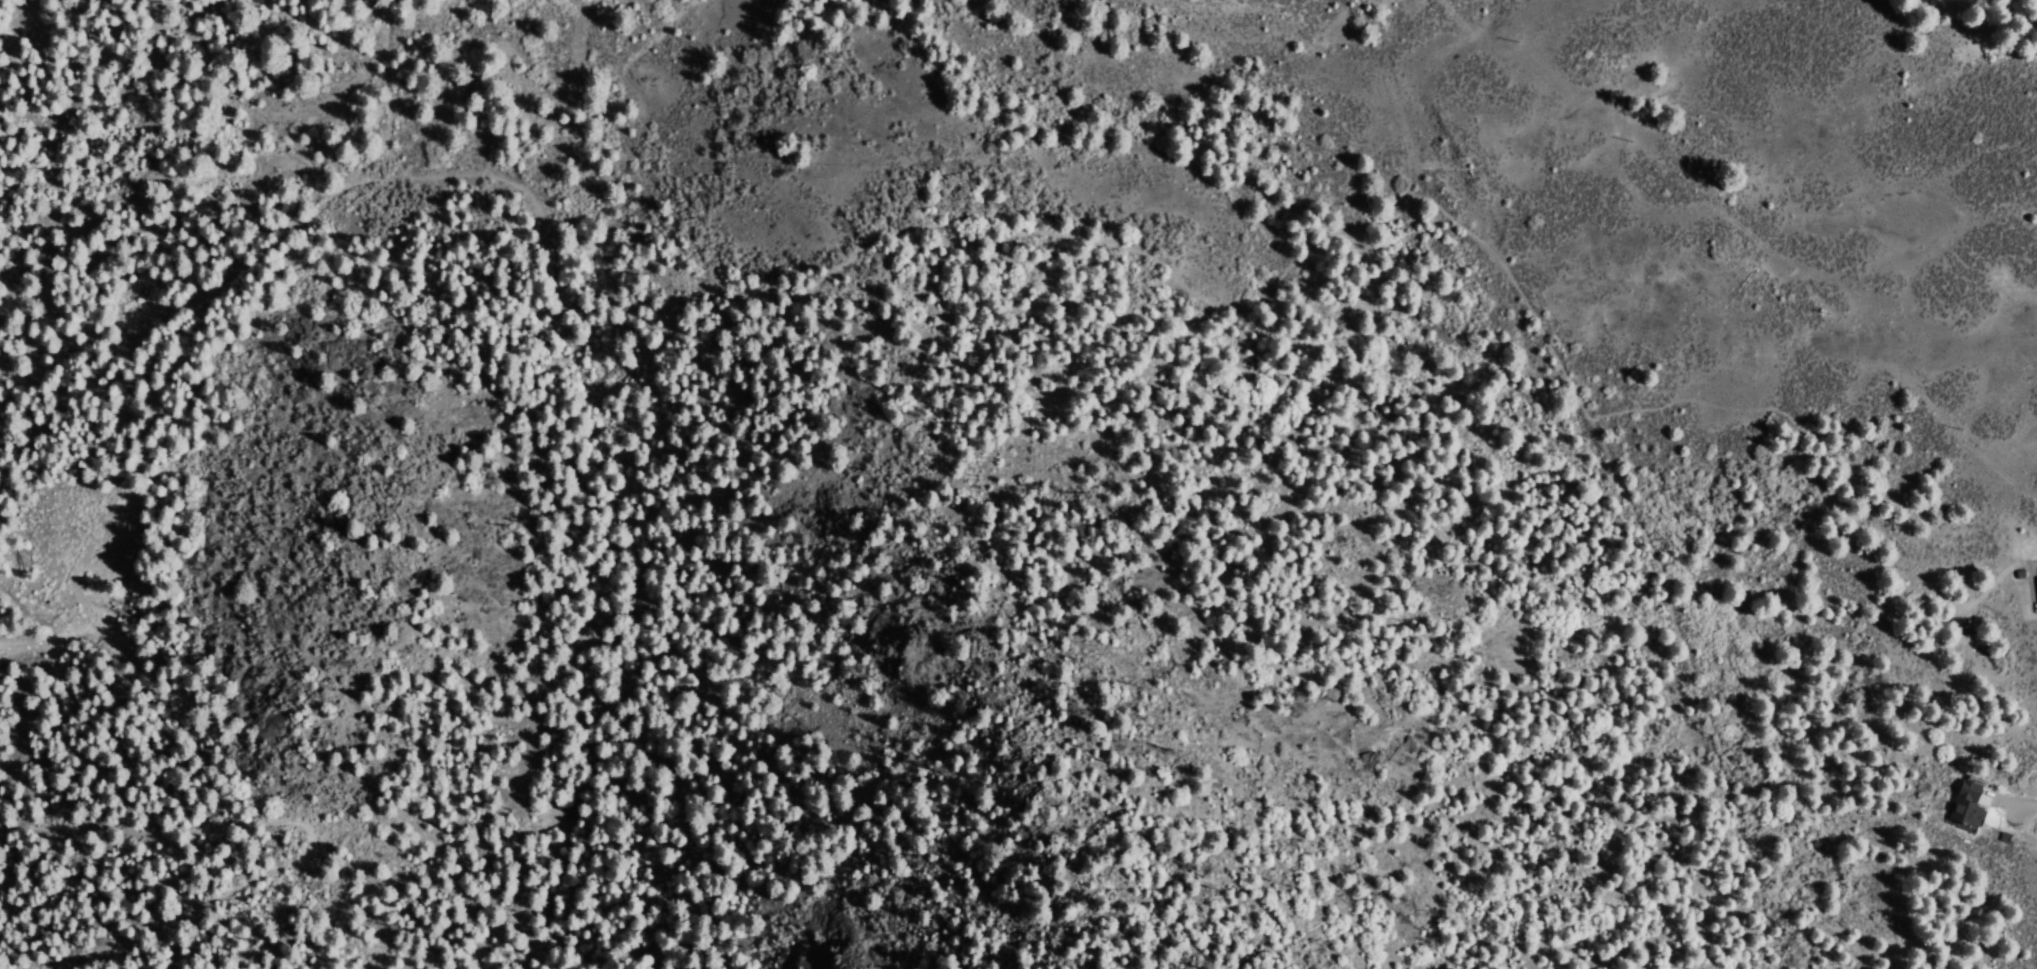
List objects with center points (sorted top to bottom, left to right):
crop: (1953, 89)
building: (2036, 588)
building: (1965, 802)

